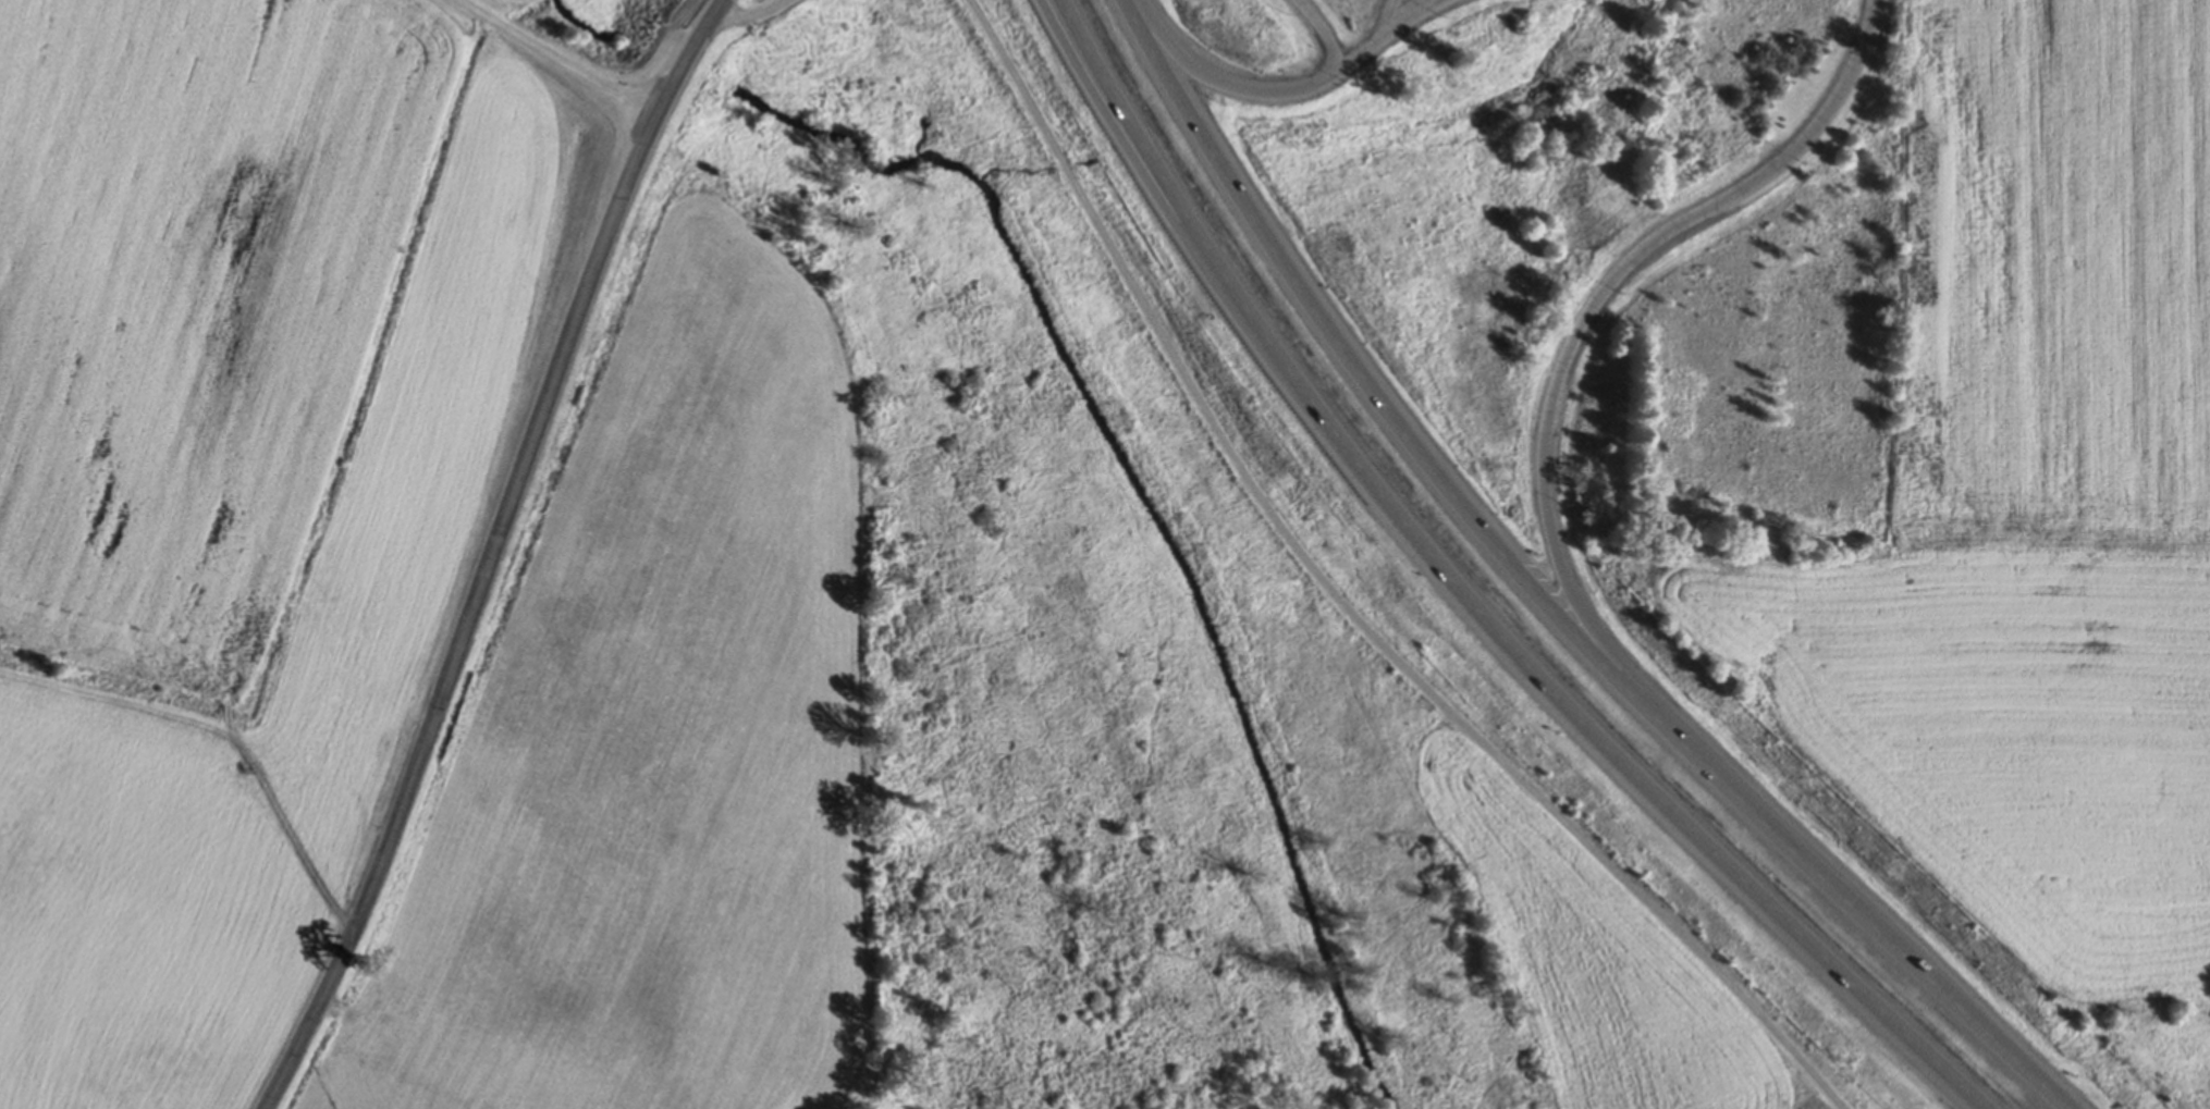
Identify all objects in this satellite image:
road: (1417, 12)
parking lot: (1404, 16)
road: (1395, 24)
road: (1328, 35)
road: (1354, 61)
road: (1221, 81)
road: (1154, 164)
road: (1135, 171)
road: (1562, 369)
road: (1327, 421)
road: (1399, 427)
road: (494, 555)
road: (1684, 823)
road: (1900, 952)
road: (2058, 1105)

